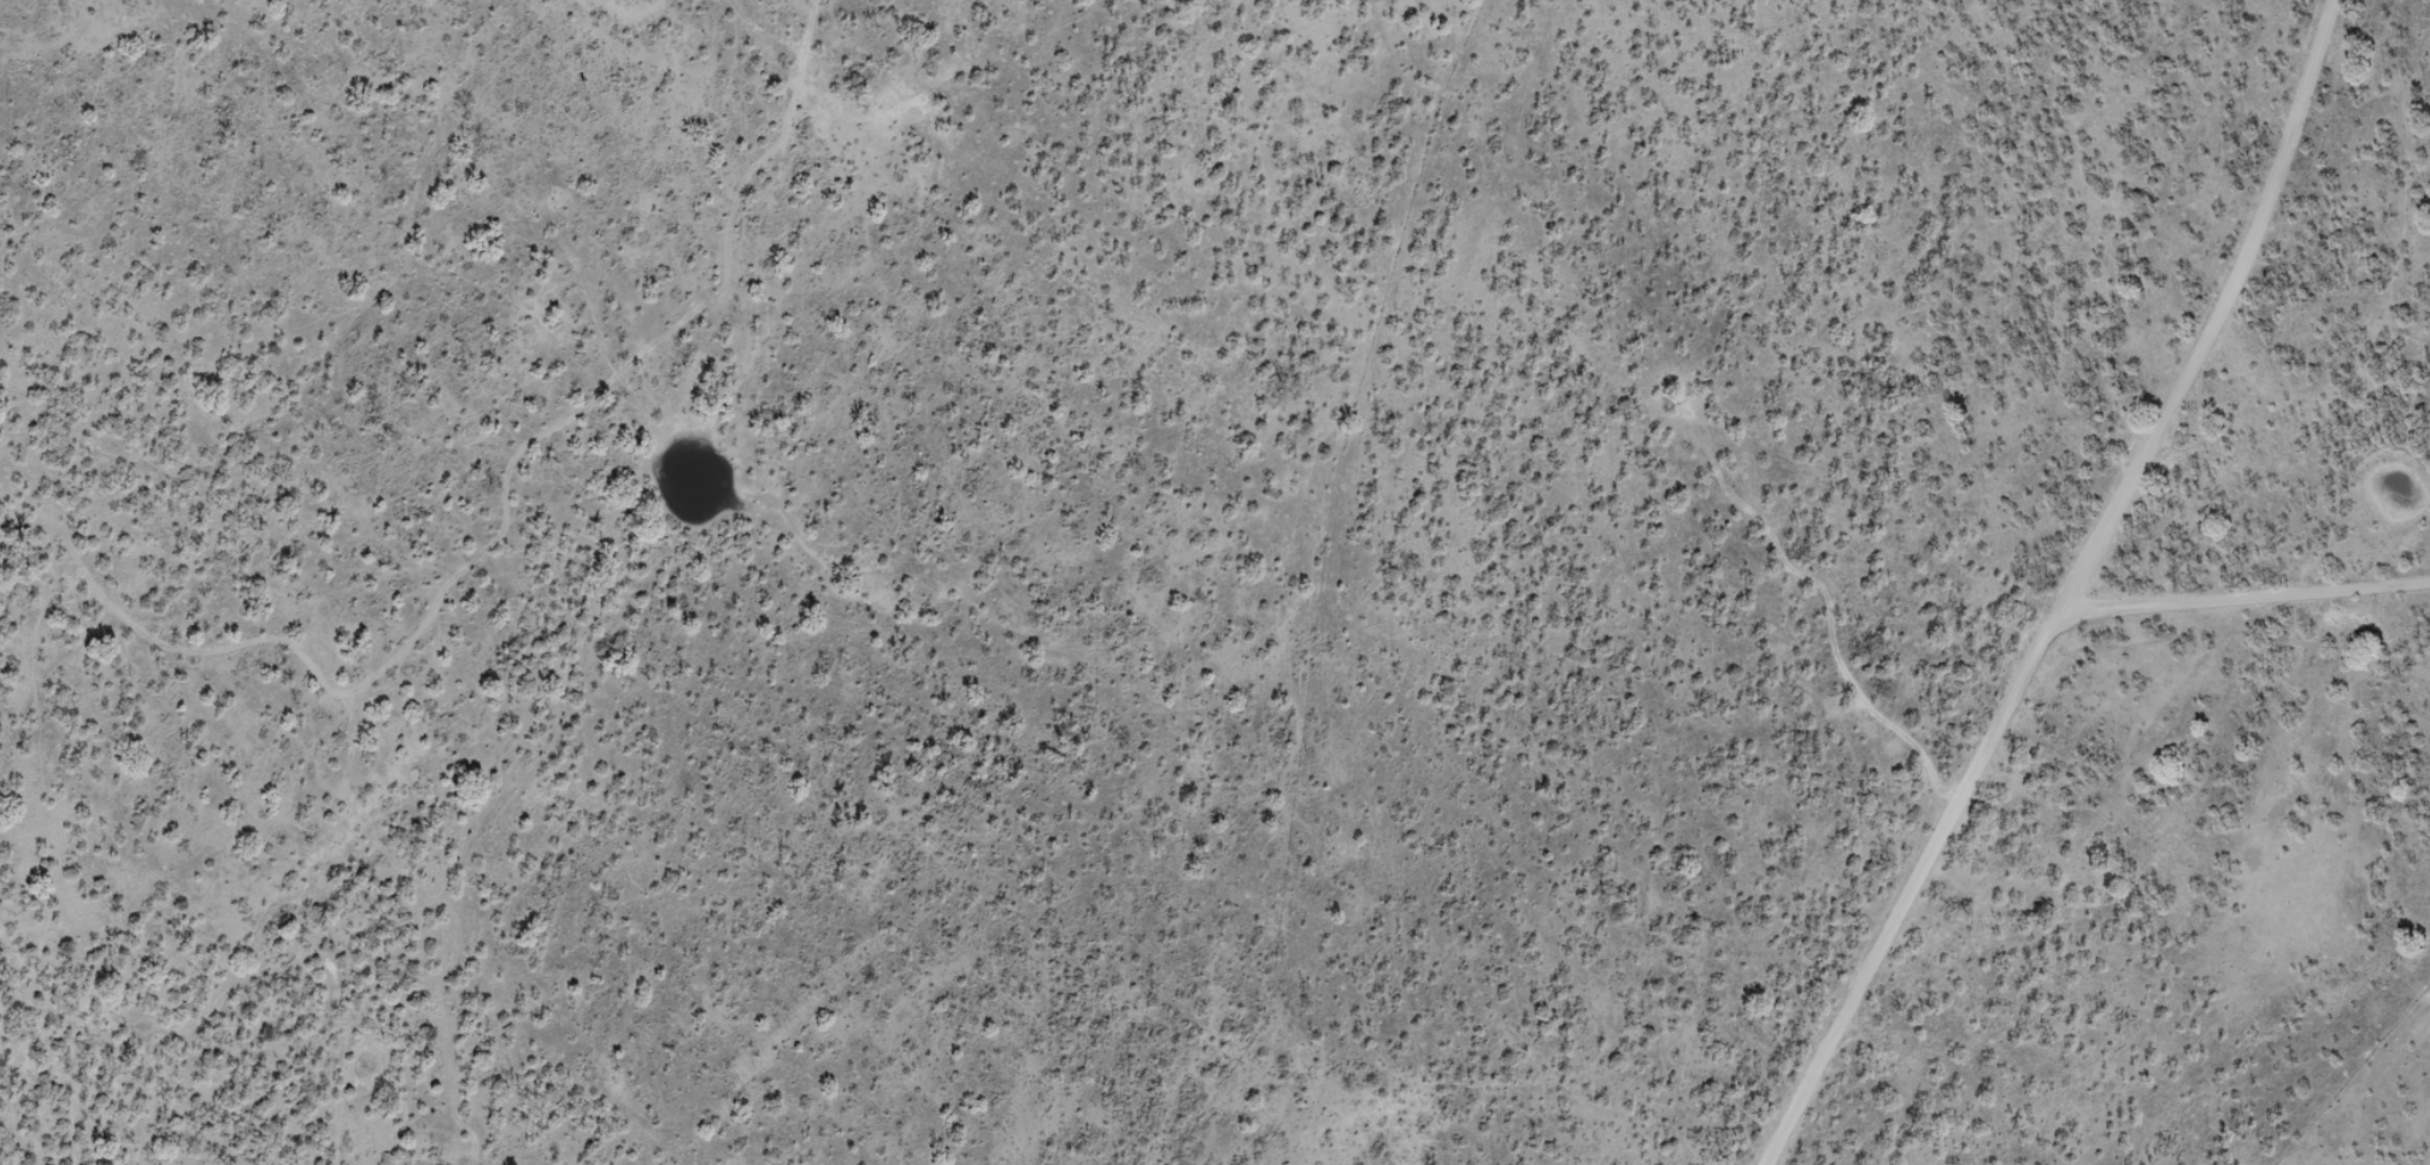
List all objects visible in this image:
road: (2078, 592)
road: (2246, 602)

